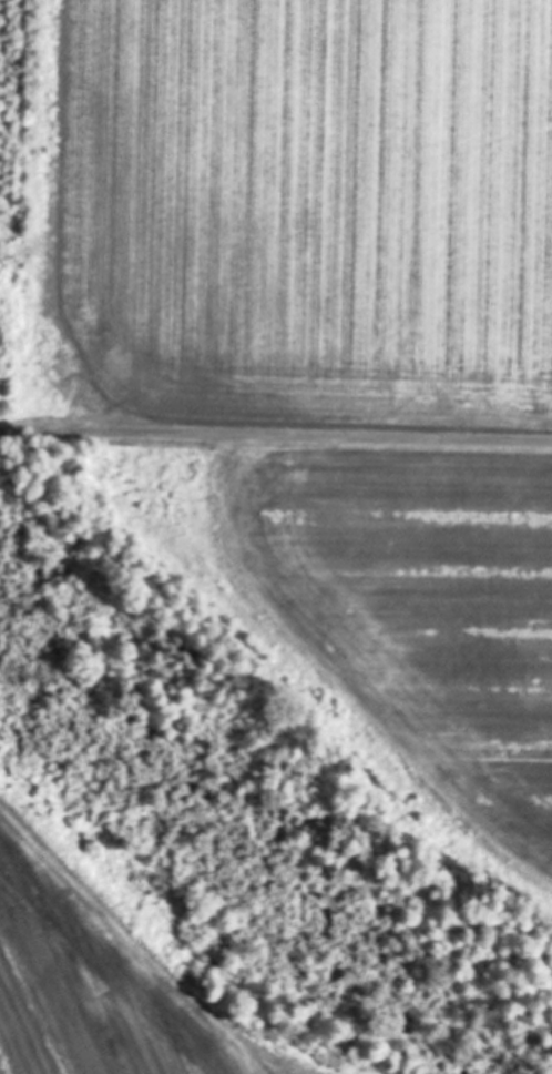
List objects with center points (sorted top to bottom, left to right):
road: (275, 432)

